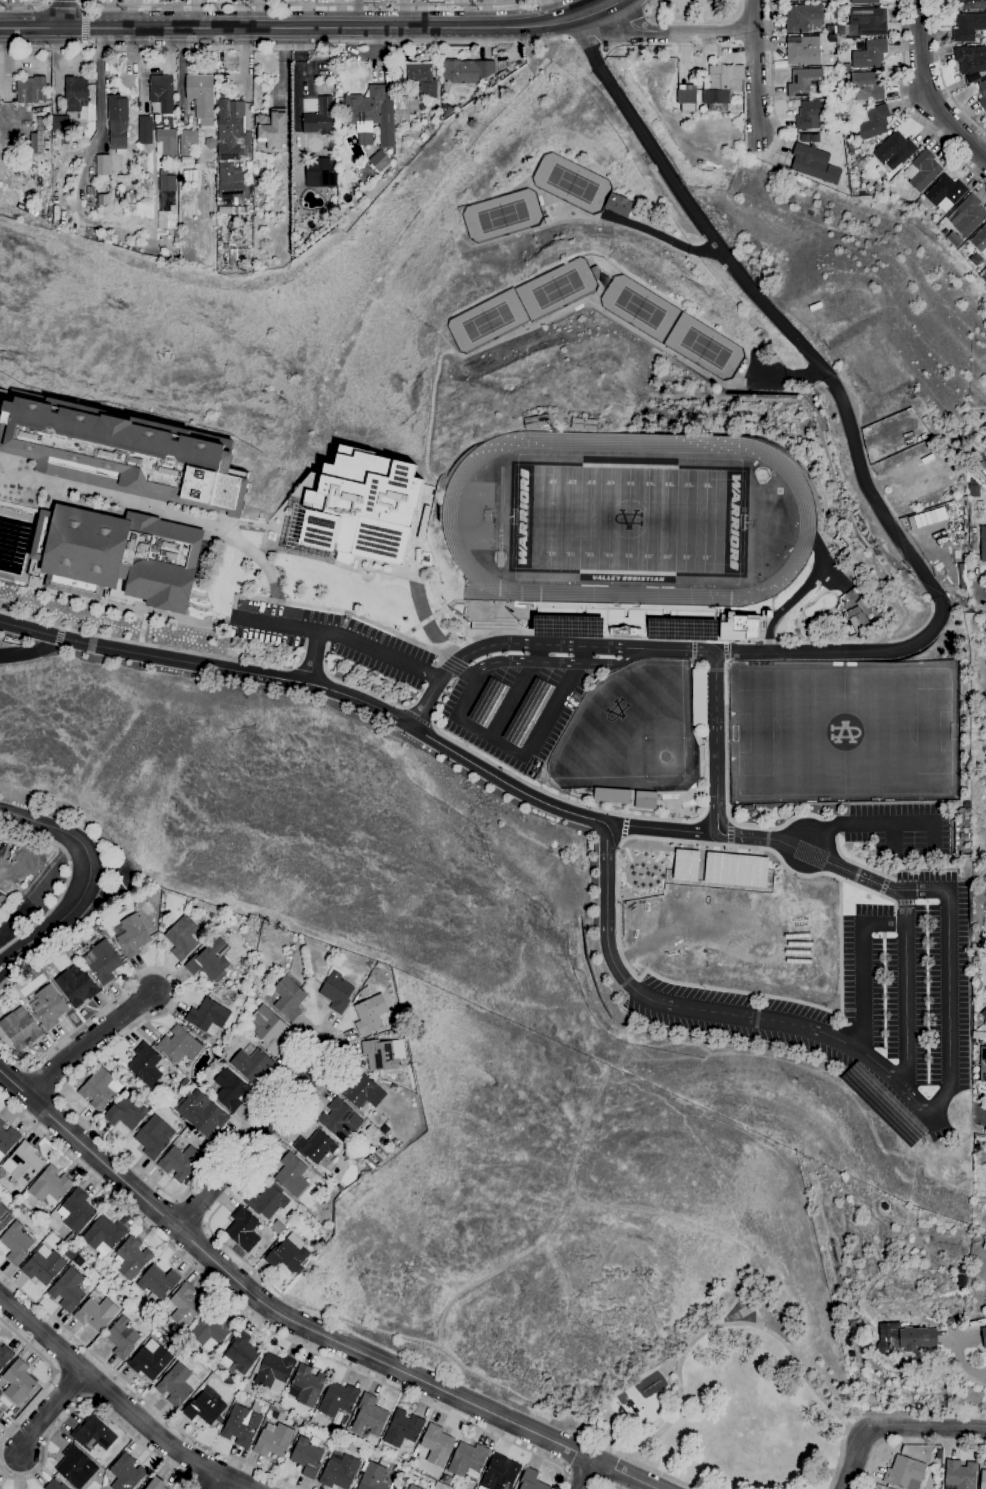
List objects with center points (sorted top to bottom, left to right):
building: (800, 0)
building: (864, 2)
road: (610, 3)
road: (308, 4)
building: (969, 4)
road: (25, 5)
road: (653, 5)
road: (84, 8)
road: (646, 11)
road: (66, 14)
building: (804, 18)
building: (866, 22)
road: (606, 23)
building: (967, 26)
road: (304, 28)
road: (676, 31)
building: (838, 37)
road: (568, 38)
road: (296, 50)
building: (803, 51)
building: (870, 55)
building: (970, 59)
building: (847, 67)
building: (466, 71)
road: (755, 71)
road: (942, 75)
building: (420, 79)
road: (99, 80)
building: (804, 82)
road: (771, 83)
building: (869, 84)
building: (721, 86)
building: (31, 90)
road: (926, 91)
building: (161, 94)
building: (982, 95)
building: (76, 96)
building: (201, 98)
building: (687, 98)
road: (297, 105)
road: (906, 109)
building: (408, 111)
building: (445, 111)
building: (812, 114)
building: (372, 115)
building: (321, 119)
building: (230, 121)
building: (872, 122)
building: (61, 123)
building: (117, 123)
building: (271, 128)
building: (144, 130)
building: (37, 139)
building: (187, 141)
building: (165, 142)
building: (46, 145)
building: (894, 151)
building: (187, 161)
building: (379, 161)
building: (814, 164)
building: (102, 169)
building: (922, 171)
building: (318, 173)
building: (189, 176)
building: (229, 182)
park: (572, 183)
building: (872, 188)
building: (945, 193)
building: (129, 197)
building: (167, 202)
building: (619, 206)
building: (243, 207)
road: (691, 207)
park: (502, 216)
building: (968, 216)
road: (659, 235)
building: (954, 240)
building: (980, 241)
park: (557, 289)
park: (639, 308)
park: (487, 321)
park: (704, 347)
road: (785, 373)
building: (536, 422)
building: (583, 424)
building: (125, 454)
building: (973, 489)
road: (873, 497)
building: (362, 506)
track: (499, 509)
park: (626, 520)
park: (627, 520)
track: (807, 520)
road: (201, 521)
building: (983, 544)
building: (121, 553)
road: (978, 573)
road: (979, 591)
road: (981, 611)
flagpole: (452, 612)
flagpole: (454, 614)
flagpole: (459, 616)
building: (856, 616)
building: (569, 625)
building: (741, 626)
building: (681, 629)
road: (344, 634)
parking lot: (331, 638)
road: (708, 642)
road: (144, 644)
road: (693, 651)
road: (725, 651)
road: (30, 652)
road: (840, 653)
road: (313, 657)
road: (631, 658)
road: (532, 661)
road: (698, 670)
road: (714, 670)
road: (309, 672)
road: (348, 685)
road: (314, 686)
road: (517, 691)
road: (471, 694)
road: (430, 695)
building: (699, 697)
building: (488, 702)
road: (556, 703)
road: (716, 710)
parking lot: (514, 711)
building: (528, 711)
road: (416, 718)
park: (631, 731)
park: (844, 732)
road: (492, 737)
road: (727, 790)
building: (611, 796)
building: (644, 800)
road: (602, 811)
road: (878, 824)
road: (624, 828)
parking lot: (899, 828)
road: (660, 829)
road: (830, 829)
road: (730, 833)
road: (892, 838)
road: (86, 855)
road: (617, 862)
road: (858, 864)
building: (684, 865)
building: (734, 870)
road: (66, 878)
road: (882, 886)
road: (900, 902)
building: (162, 924)
building: (227, 935)
building: (132, 937)
building: (181, 938)
building: (72, 945)
road: (19, 946)
road: (839, 946)
road: (19, 956)
road: (35, 956)
building: (104, 962)
building: (209, 962)
building: (243, 962)
road: (863, 968)
building: (49, 969)
building: (76, 986)
building: (215, 987)
road: (905, 991)
building: (336, 992)
building: (288, 1000)
road: (948, 1001)
parking lot: (866, 1002)
building: (48, 1007)
road: (690, 1009)
building: (0, 1011)
building: (370, 1014)
building: (983, 1014)
building: (207, 1019)
building: (20, 1029)
building: (269, 1031)
road: (87, 1040)
building: (179, 1045)
building: (222, 1055)
building: (379, 1056)
building: (251, 1064)
building: (145, 1065)
building: (982, 1065)
building: (99, 1089)
building: (230, 1090)
building: (362, 1092)
road: (981, 1097)
building: (884, 1104)
building: (127, 1112)
road: (980, 1114)
building: (201, 1115)
building: (340, 1121)
road: (979, 1133)
building: (153, 1137)
building: (7, 1139)
building: (395, 1141)
road: (251, 1143)
building: (316, 1149)
building: (346, 1156)
building: (374, 1159)
building: (23, 1164)
building: (180, 1164)
building: (291, 1176)
road: (195, 1179)
building: (330, 1180)
building: (49, 1187)
building: (24, 1195)
building: (267, 1201)
building: (76, 1211)
building: (4, 1216)
road: (667, 1219)
building: (278, 1228)
building: (242, 1230)
building: (103, 1235)
road: (554, 1235)
building: (15, 1243)
building: (288, 1255)
building: (131, 1259)
building: (43, 1267)
road: (557, 1275)
building: (157, 1282)
building: (84, 1288)
building: (67, 1290)
road: (746, 1297)
building: (185, 1306)
building: (96, 1314)
building: (952, 1321)
road: (299, 1324)
road: (265, 1327)
road: (718, 1328)
building: (210, 1331)
building: (983, 1336)
building: (122, 1338)
building: (905, 1340)
building: (240, 1354)
building: (5, 1356)
road: (455, 1358)
building: (150, 1360)
road: (962, 1364)
building: (274, 1372)
road: (51, 1378)
building: (18, 1382)
building: (176, 1386)
building: (306, 1386)
road: (629, 1389)
road: (139, 1396)
park: (738, 1398)
building: (337, 1400)
road: (88, 1401)
road: (118, 1402)
building: (205, 1407)
building: (0, 1412)
road: (46, 1413)
building: (369, 1417)
building: (308, 1419)
building: (243, 1424)
road: (895, 1425)
building: (402, 1429)
building: (93, 1435)
road: (863, 1436)
building: (273, 1440)
building: (436, 1445)
road: (909, 1445)
road: (841, 1452)
building: (938, 1455)
building: (306, 1457)
building: (467, 1459)
building: (73, 1467)
building: (339, 1471)
building: (126, 1473)
road: (661, 1473)
building: (905, 1473)
building: (499, 1474)
road: (587, 1474)
building: (959, 1475)
building: (375, 1478)
building: (446, 1480)
building: (531, 1480)
road: (585, 1480)
building: (983, 1480)
road: (213, 1482)
building: (156, 1484)
building: (53, 1485)
building: (412, 1487)

